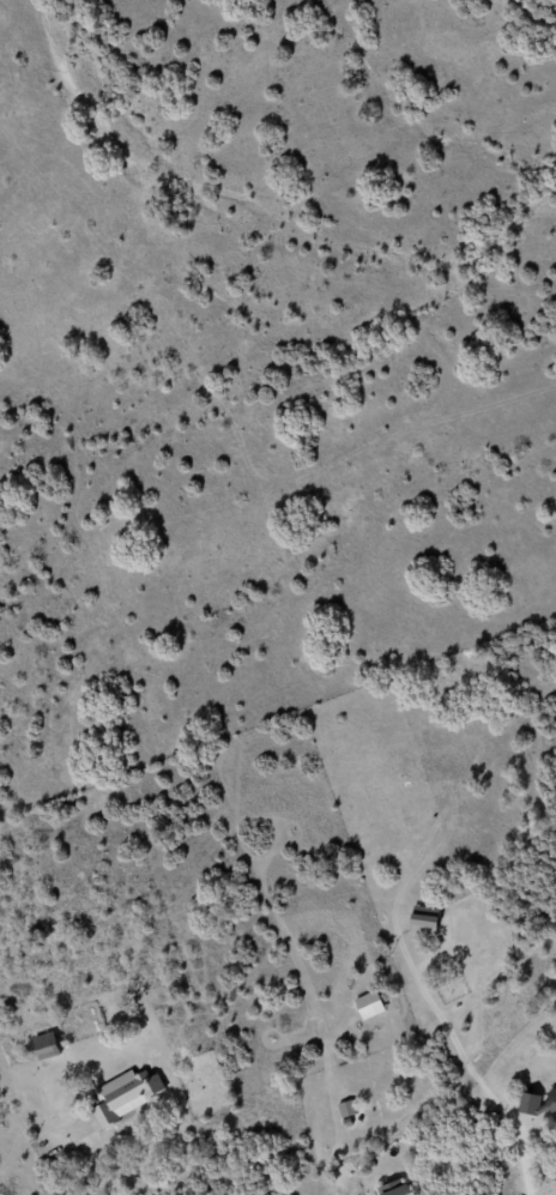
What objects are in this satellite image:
building: (423, 921)
building: (369, 1004)
building: (46, 1045)
road: (469, 1068)
building: (126, 1094)
building: (537, 1103)
building: (346, 1109)
road: (105, 1172)
building: (395, 1188)

